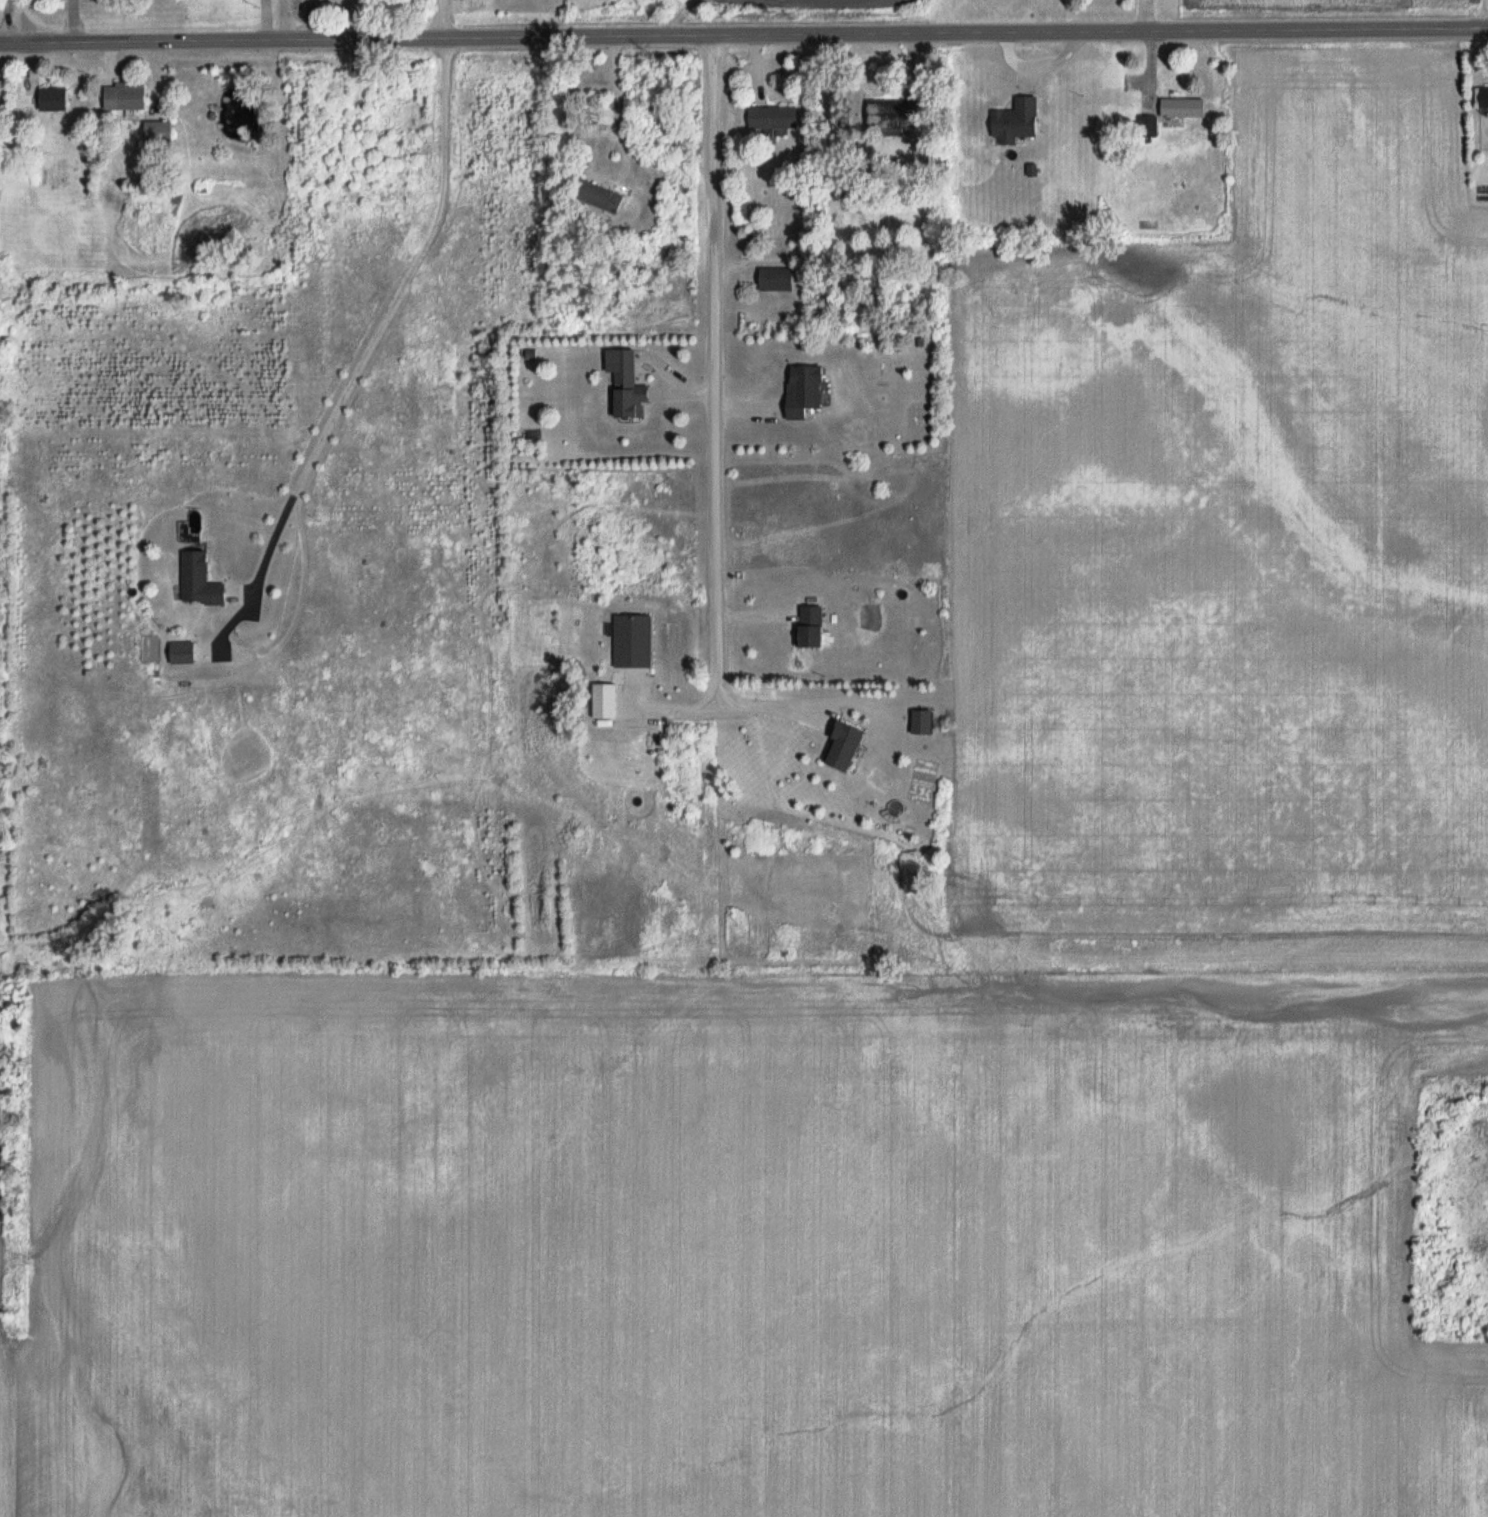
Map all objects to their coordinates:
crop: (1326, 18)
crop: (806, 19)
road: (446, 20)
road: (13, 21)
road: (743, 39)
building: (128, 96)
building: (1484, 97)
building: (54, 99)
building: (1182, 109)
building: (603, 116)
building: (773, 118)
building: (1016, 122)
building: (158, 132)
building: (600, 197)
building: (777, 281)
road: (374, 316)
road: (709, 369)
building: (625, 387)
building: (805, 392)
building: (201, 581)
building: (813, 628)
road: (768, 699)
building: (923, 722)
building: (846, 748)
crop: (911, 1004)

